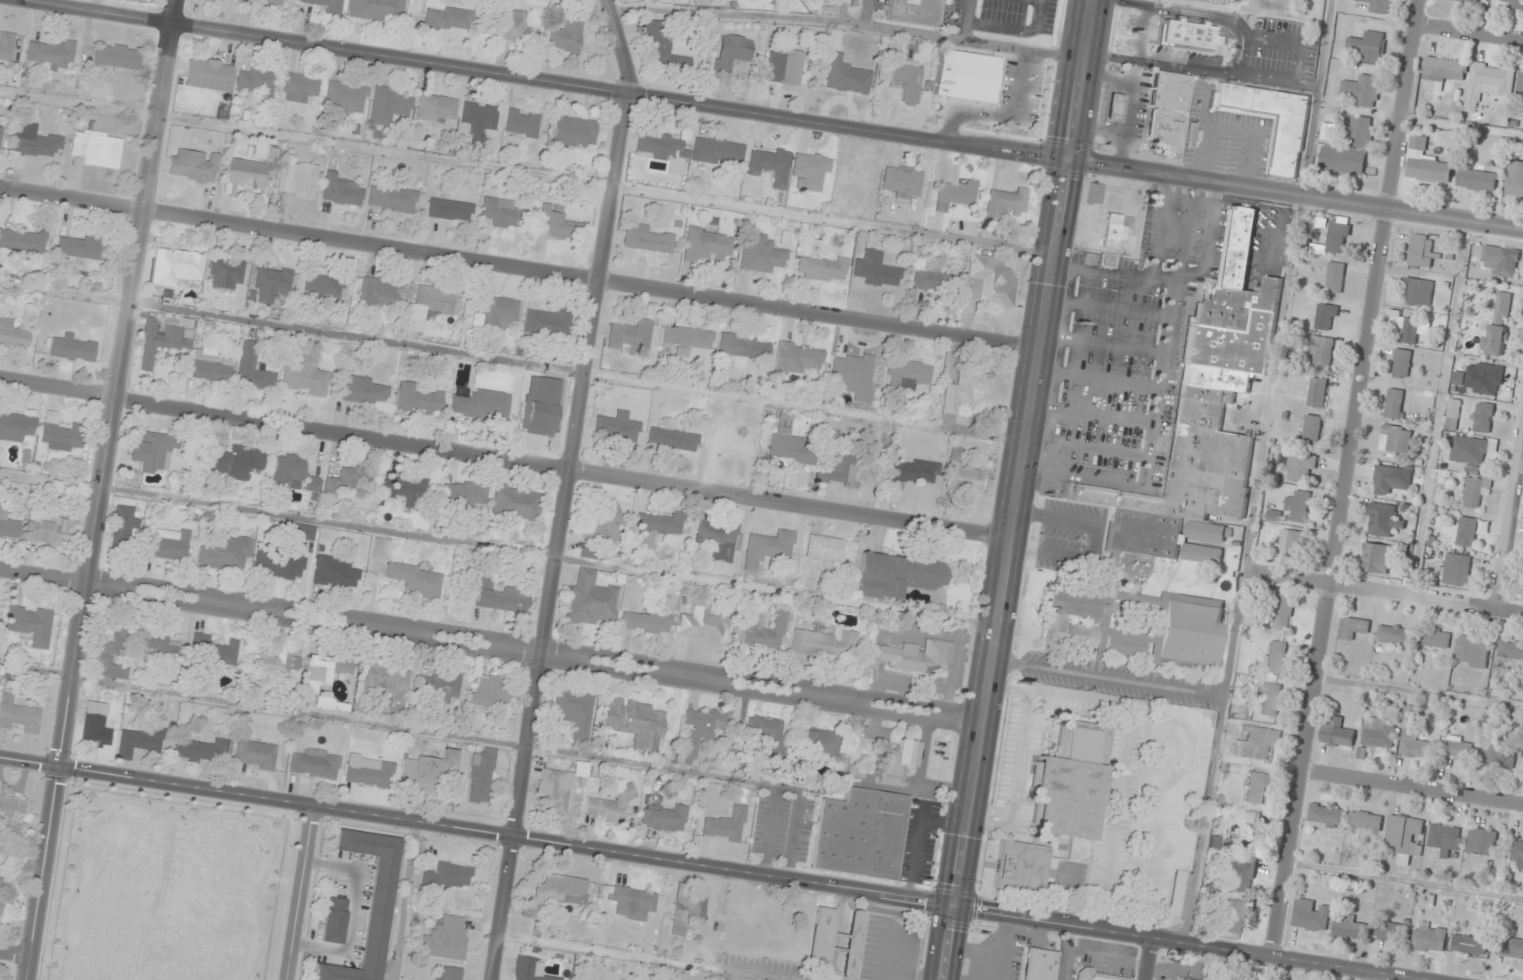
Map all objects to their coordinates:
building: (268, 1)
building: (1205, 1)
building: (1468, 1)
building: (535, 3)
building: (1513, 4)
building: (327, 5)
building: (1379, 6)
building: (378, 10)
building: (912, 11)
building: (449, 19)
building: (513, 26)
road: (1471, 32)
building: (1179, 33)
building: (566, 35)
building: (655, 42)
building: (6, 45)
building: (1369, 47)
building: (730, 52)
building: (51, 53)
building: (117, 56)
building: (784, 65)
building: (1445, 70)
building: (208, 74)
building: (845, 75)
building: (1491, 79)
building: (906, 80)
building: (254, 81)
building: (1520, 84)
building: (298, 87)
building: (1363, 90)
building: (345, 98)
building: (1011, 105)
building: (388, 106)
building: (1165, 107)
building: (435, 108)
building: (1114, 108)
road: (774, 115)
building: (478, 121)
building: (522, 123)
road: (1463, 127)
building: (0, 129)
building: (1329, 131)
building: (1360, 131)
building: (574, 132)
building: (35, 141)
building: (1418, 143)
building: (655, 145)
building: (1288, 146)
building: (96, 148)
building: (717, 151)
traffic signals: (1067, 159)
building: (1342, 160)
building: (769, 164)
building: (193, 166)
building: (1429, 169)
building: (809, 170)
building: (244, 174)
building: (855, 175)
building: (298, 180)
building: (1476, 180)
building: (1515, 180)
building: (902, 183)
building: (341, 190)
building: (955, 194)
building: (392, 199)
building: (1004, 205)
building: (449, 209)
building: (505, 213)
building: (556, 222)
road: (1160, 227)
building: (1112, 233)
road: (1208, 237)
building: (1338, 237)
building: (648, 239)
building: (22, 240)
building: (708, 244)
building: (80, 247)
building: (1422, 251)
building: (761, 253)
building: (1501, 260)
building: (176, 267)
road: (519, 267)
building: (821, 268)
building: (877, 270)
building: (226, 272)
road: (1112, 273)
building: (1335, 278)
building: (928, 281)
building: (989, 281)
building: (271, 283)
building: (324, 285)
building: (379, 292)
building: (1418, 292)
building: (429, 306)
road: (1107, 308)
building: (496, 314)
building: (1326, 317)
building: (547, 322)
building: (1499, 324)
building: (1411, 327)
building: (12, 334)
building: (631, 334)
building: (686, 337)
building: (162, 339)
road: (1102, 344)
building: (744, 346)
building: (73, 349)
building: (1321, 350)
building: (796, 358)
building: (210, 364)
building: (1402, 364)
building: (253, 368)
building: (910, 373)
road: (1160, 373)
building: (853, 374)
building: (305, 379)
building: (1488, 379)
road: (1096, 380)
building: (965, 389)
building: (364, 390)
building: (1318, 393)
building: (417, 399)
building: (1395, 404)
building: (481, 405)
road: (1439, 409)
building: (537, 410)
road: (1066, 411)
building: (1453, 414)
building: (1203, 415)
building: (1482, 417)
road: (1111, 418)
building: (16, 426)
building: (617, 427)
building: (1312, 429)
building: (60, 434)
building: (672, 436)
building: (1396, 439)
building: (730, 446)
building: (791, 448)
building: (1470, 450)
building: (153, 451)
road: (1106, 451)
road: (504, 459)
building: (237, 462)
building: (1299, 467)
building: (836, 470)
building: (914, 471)
building: (288, 472)
road: (1055, 474)
building: (963, 476)
road: (1345, 477)
building: (349, 478)
building: (1388, 479)
building: (313, 484)
road: (566, 488)
road: (96, 489)
building: (409, 489)
road: (1016, 490)
building: (1475, 491)
building: (463, 495)
building: (515, 502)
building: (1299, 506)
building: (1383, 520)
building: (126, 522)
building: (661, 523)
road: (1509, 523)
building: (9, 524)
building: (604, 526)
building: (48, 528)
building: (299, 531)
building: (1467, 532)
building: (718, 538)
building: (168, 545)
building: (1290, 545)
building: (768, 548)
building: (830, 550)
building: (223, 553)
building: (1201, 554)
building: (1376, 558)
building: (279, 564)
building: (1457, 569)
building: (335, 571)
building: (409, 573)
road: (41, 574)
building: (896, 574)
road: (83, 580)
road: (1387, 593)
building: (500, 597)
building: (592, 600)
road: (228, 604)
building: (1283, 612)
building: (645, 622)
building: (30, 624)
building: (701, 624)
building: (1137, 626)
road: (382, 628)
building: (1353, 628)
building: (759, 631)
building: (1394, 635)
building: (1437, 639)
building: (824, 644)
building: (152, 645)
building: (1510, 650)
building: (213, 651)
building: (1472, 652)
building: (109, 655)
building: (918, 657)
building: (1276, 657)
building: (278, 663)
road: (687, 675)
building: (325, 679)
building: (387, 680)
building: (440, 686)
building: (491, 692)
road: (1420, 693)
road: (834, 697)
building: (1269, 698)
building: (575, 711)
building: (20, 715)
building: (635, 722)
building: (97, 724)
building: (702, 728)
building: (764, 728)
building: (1378, 733)
building: (1337, 734)
building: (817, 741)
building: (139, 742)
building: (1255, 744)
building: (1415, 746)
building: (1459, 748)
building: (203, 751)
building: (255, 755)
building: (449, 756)
building: (1499, 758)
building: (315, 763)
building: (898, 763)
traffic signals: (57, 766)
building: (366, 769)
building: (856, 771)
building: (481, 776)
building: (422, 778)
building: (1070, 782)
building: (1257, 787)
building: (558, 788)
road: (1415, 788)
building: (13, 805)
building: (611, 805)
building: (1326, 816)
building: (663, 817)
building: (1365, 821)
building: (725, 825)
building: (1245, 826)
road: (475, 832)
building: (860, 834)
building: (1405, 836)
building: (1445, 839)
building: (1481, 841)
building: (1517, 855)
building: (1020, 868)
building: (1242, 873)
building: (448, 876)
road: (1407, 881)
building: (1, 889)
building: (1177, 892)
road: (302, 894)
building: (554, 895)
building: (632, 902)
building: (369, 903)
traffic signals: (952, 906)
building: (688, 907)
building: (1311, 915)
building: (1235, 916)
building: (334, 920)
building: (1390, 931)
building: (1430, 937)
building: (446, 939)
building: (820, 940)
road: (1192, 944)
building: (1469, 944)
building: (852, 945)
building: (1513, 948)
road: (14, 953)
road: (1151, 959)
building: (1038, 964)
building: (530, 969)
building: (448, 973)
road: (1376, 975)
building: (1099, 976)
building: (1183, 979)

